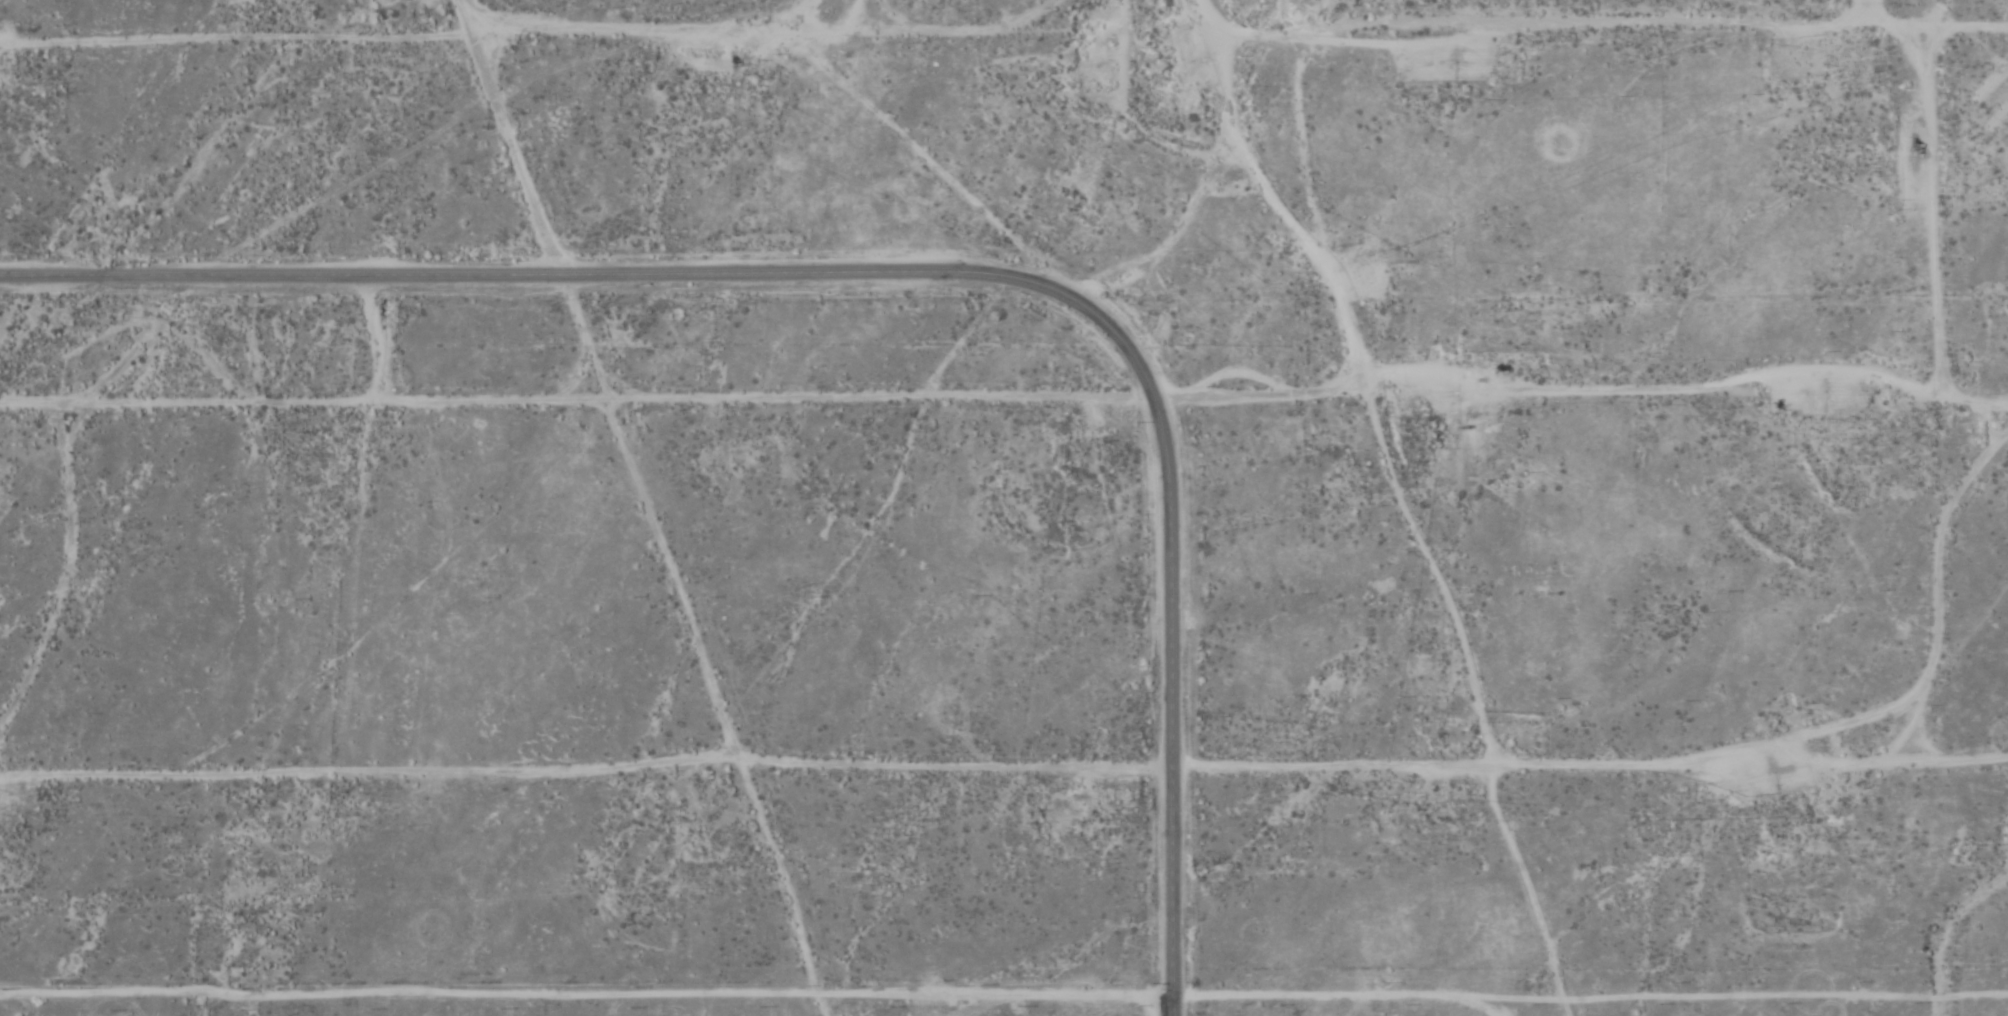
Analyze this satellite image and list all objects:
road: (913, 260)

